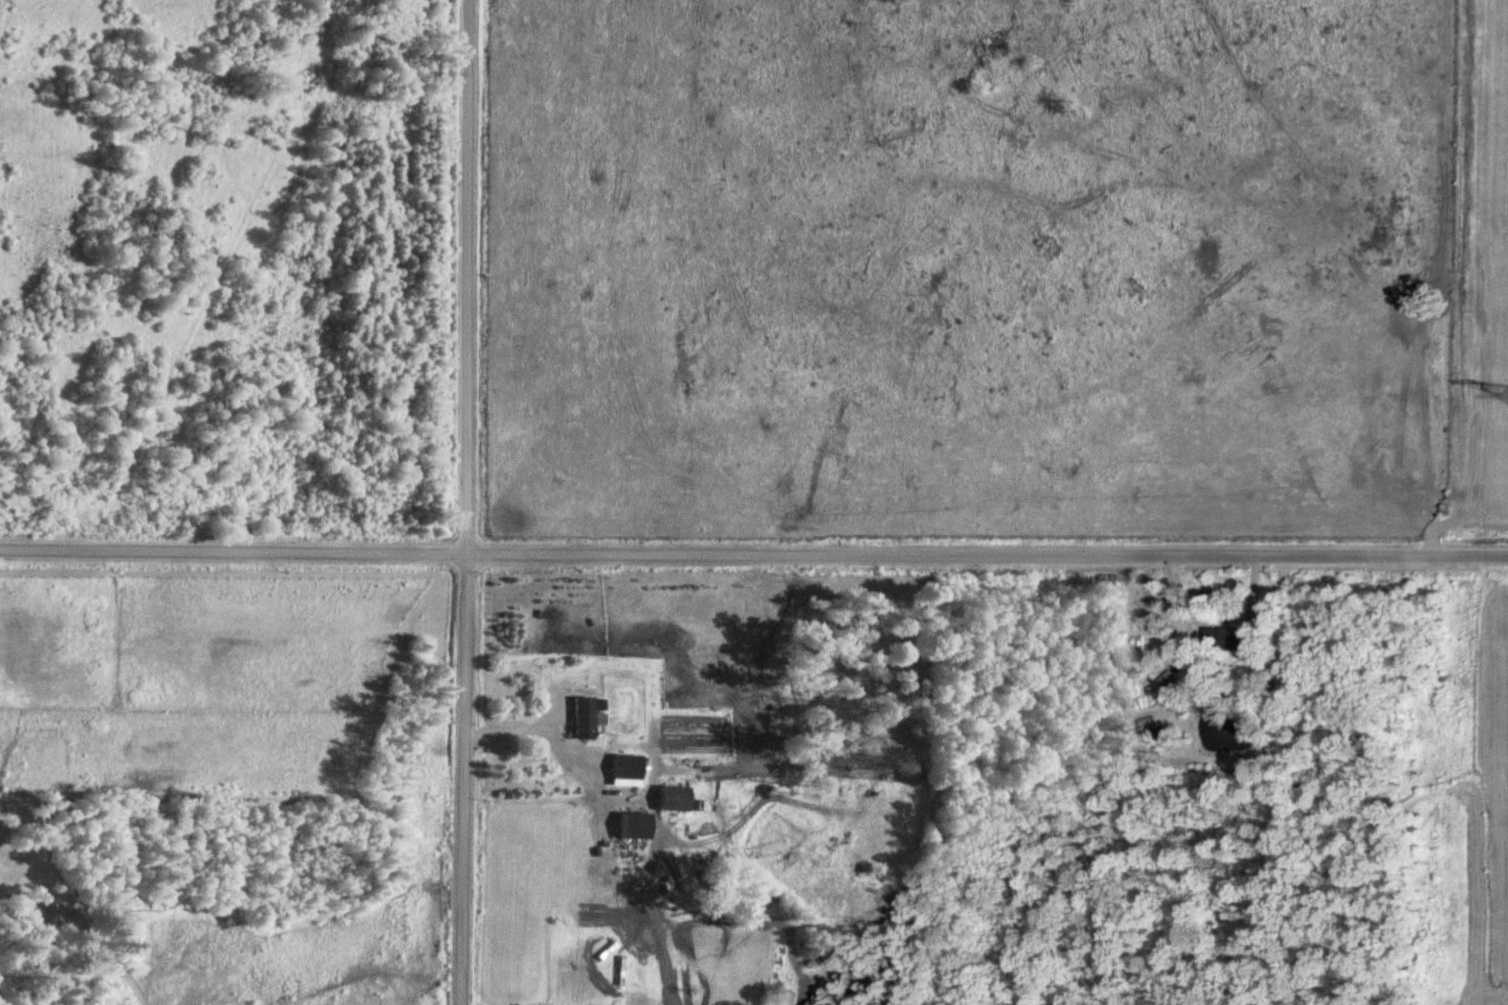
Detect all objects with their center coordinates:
road: (465, 502)
road: (753, 556)
building: (1235, 638)
building: (588, 713)
road: (538, 732)
building: (628, 770)
building: (676, 798)
building: (637, 825)
building: (621, 971)

